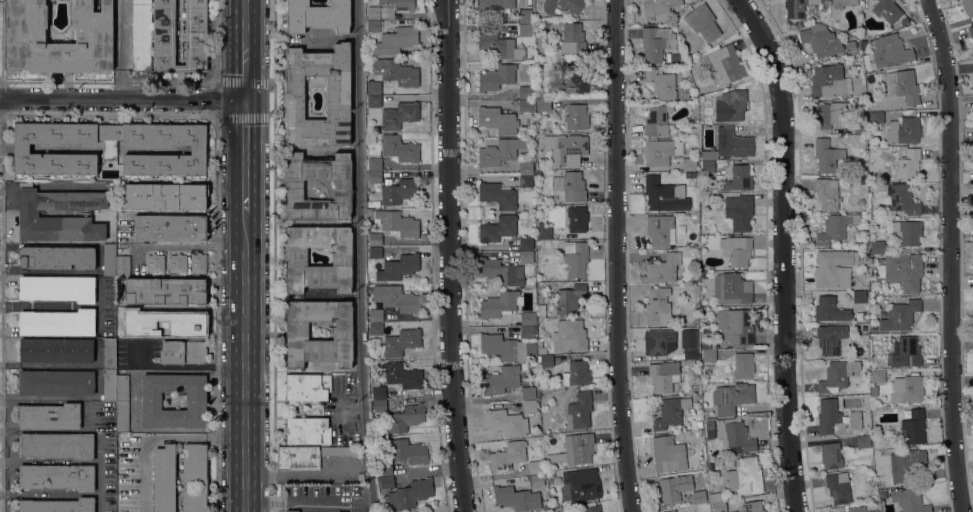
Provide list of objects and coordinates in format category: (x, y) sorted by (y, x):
building: (842, 3)
building: (400, 4)
building: (562, 5)
building: (824, 5)
building: (494, 6)
building: (968, 7)
building: (658, 8)
building: (796, 8)
building: (886, 10)
building: (373, 12)
building: (317, 16)
building: (525, 16)
building: (702, 22)
building: (373, 26)
building: (525, 30)
building: (971, 31)
building: (93, 35)
building: (141, 35)
building: (572, 39)
building: (395, 40)
building: (656, 42)
building: (821, 42)
building: (498, 45)
building: (164, 47)
road: (121, 50)
road: (244, 50)
building: (890, 50)
building: (542, 60)
building: (724, 64)
building: (396, 72)
building: (496, 77)
building: (575, 77)
building: (827, 81)
road: (242, 83)
building: (661, 84)
building: (902, 86)
building: (374, 88)
building: (524, 92)
building: (683, 94)
building: (337, 97)
road: (122, 100)
building: (374, 101)
building: (543, 105)
building: (525, 106)
building: (731, 107)
building: (826, 114)
road: (108, 115)
building: (398, 115)
building: (576, 117)
building: (876, 117)
road: (243, 118)
building: (498, 120)
building: (657, 120)
building: (857, 124)
building: (903, 131)
building: (370, 139)
building: (733, 143)
building: (109, 148)
building: (399, 148)
building: (566, 149)
building: (498, 152)
building: (660, 152)
building: (703, 154)
road: (245, 156)
building: (826, 156)
building: (374, 163)
building: (908, 163)
building: (689, 164)
building: (708, 166)
building: (525, 168)
building: (374, 177)
building: (738, 178)
building: (525, 181)
building: (293, 184)
building: (570, 186)
building: (399, 191)
building: (827, 193)
building: (658, 194)
building: (497, 195)
building: (164, 197)
building: (901, 198)
building: (523, 205)
building: (740, 212)
building: (28, 213)
building: (369, 214)
building: (577, 219)
building: (397, 223)
building: (169, 227)
building: (835, 228)
building: (497, 229)
building: (659, 230)
building: (544, 231)
building: (907, 232)
building: (374, 239)
building: (526, 243)
road: (181, 246)
building: (877, 247)
building: (736, 250)
building: (374, 252)
road: (785, 252)
road: (952, 255)
railway: (249, 256)
road: (359, 256)
road: (449, 256)
road: (618, 256)
building: (56, 257)
building: (295, 257)
building: (525, 257)
building: (575, 258)
building: (114, 261)
building: (154, 263)
building: (177, 263)
building: (198, 263)
building: (398, 267)
building: (833, 268)
building: (663, 269)
building: (500, 272)
building: (904, 272)
building: (703, 275)
building: (558, 279)
building: (57, 288)
building: (732, 288)
building: (164, 291)
building: (858, 297)
building: (396, 298)
building: (568, 300)
building: (500, 304)
building: (657, 307)
building: (541, 310)
building: (830, 310)
building: (375, 315)
building: (900, 315)
building: (527, 318)
building: (57, 323)
building: (187, 325)
building: (734, 327)
building: (862, 328)
building: (375, 329)
building: (526, 332)
building: (297, 333)
building: (569, 336)
building: (830, 338)
building: (659, 341)
building: (401, 342)
building: (540, 346)
building: (502, 347)
building: (56, 351)
building: (181, 352)
building: (859, 352)
building: (906, 352)
building: (109, 353)
building: (691, 353)
building: (708, 355)
road: (246, 361)
building: (544, 361)
building: (743, 366)
building: (576, 374)
building: (402, 375)
building: (837, 375)
building: (663, 376)
building: (877, 376)
building: (500, 380)
building: (56, 382)
building: (109, 385)
building: (306, 387)
building: (908, 389)
building: (873, 391)
building: (378, 392)
building: (528, 393)
building: (731, 397)
building: (151, 401)
building: (122, 403)
building: (379, 406)
building: (529, 407)
building: (580, 410)
building: (669, 413)
building: (827, 416)
building: (50, 417)
building: (405, 418)
building: (855, 420)
building: (505, 422)
building: (698, 424)
building: (709, 426)
building: (914, 427)
building: (307, 431)
building: (698, 433)
building: (734, 435)
building: (899, 438)
road: (162, 440)
building: (862, 442)
building: (55, 446)
building: (578, 448)
building: (338, 451)
building: (408, 451)
building: (667, 454)
building: (831, 455)
building: (507, 456)
building: (298, 458)
road: (49, 460)
building: (906, 463)
building: (535, 467)
building: (384, 469)
road: (98, 474)
building: (551, 474)
building: (744, 476)
building: (57, 477)
building: (194, 477)
building: (164, 478)
building: (537, 480)
building: (385, 482)
building: (882, 484)
building: (581, 486)
building: (838, 488)
building: (679, 489)
road: (48, 493)
building: (409, 494)
building: (516, 498)
building: (714, 498)
building: (909, 500)
building: (544, 504)
building: (57, 505)
building: (753, 506)
building: (590, 507)
building: (719, 507)
building: (857, 509)
building: (291, 511)
building: (415, 511)
building: (670, 511)
building: (733, 511)

